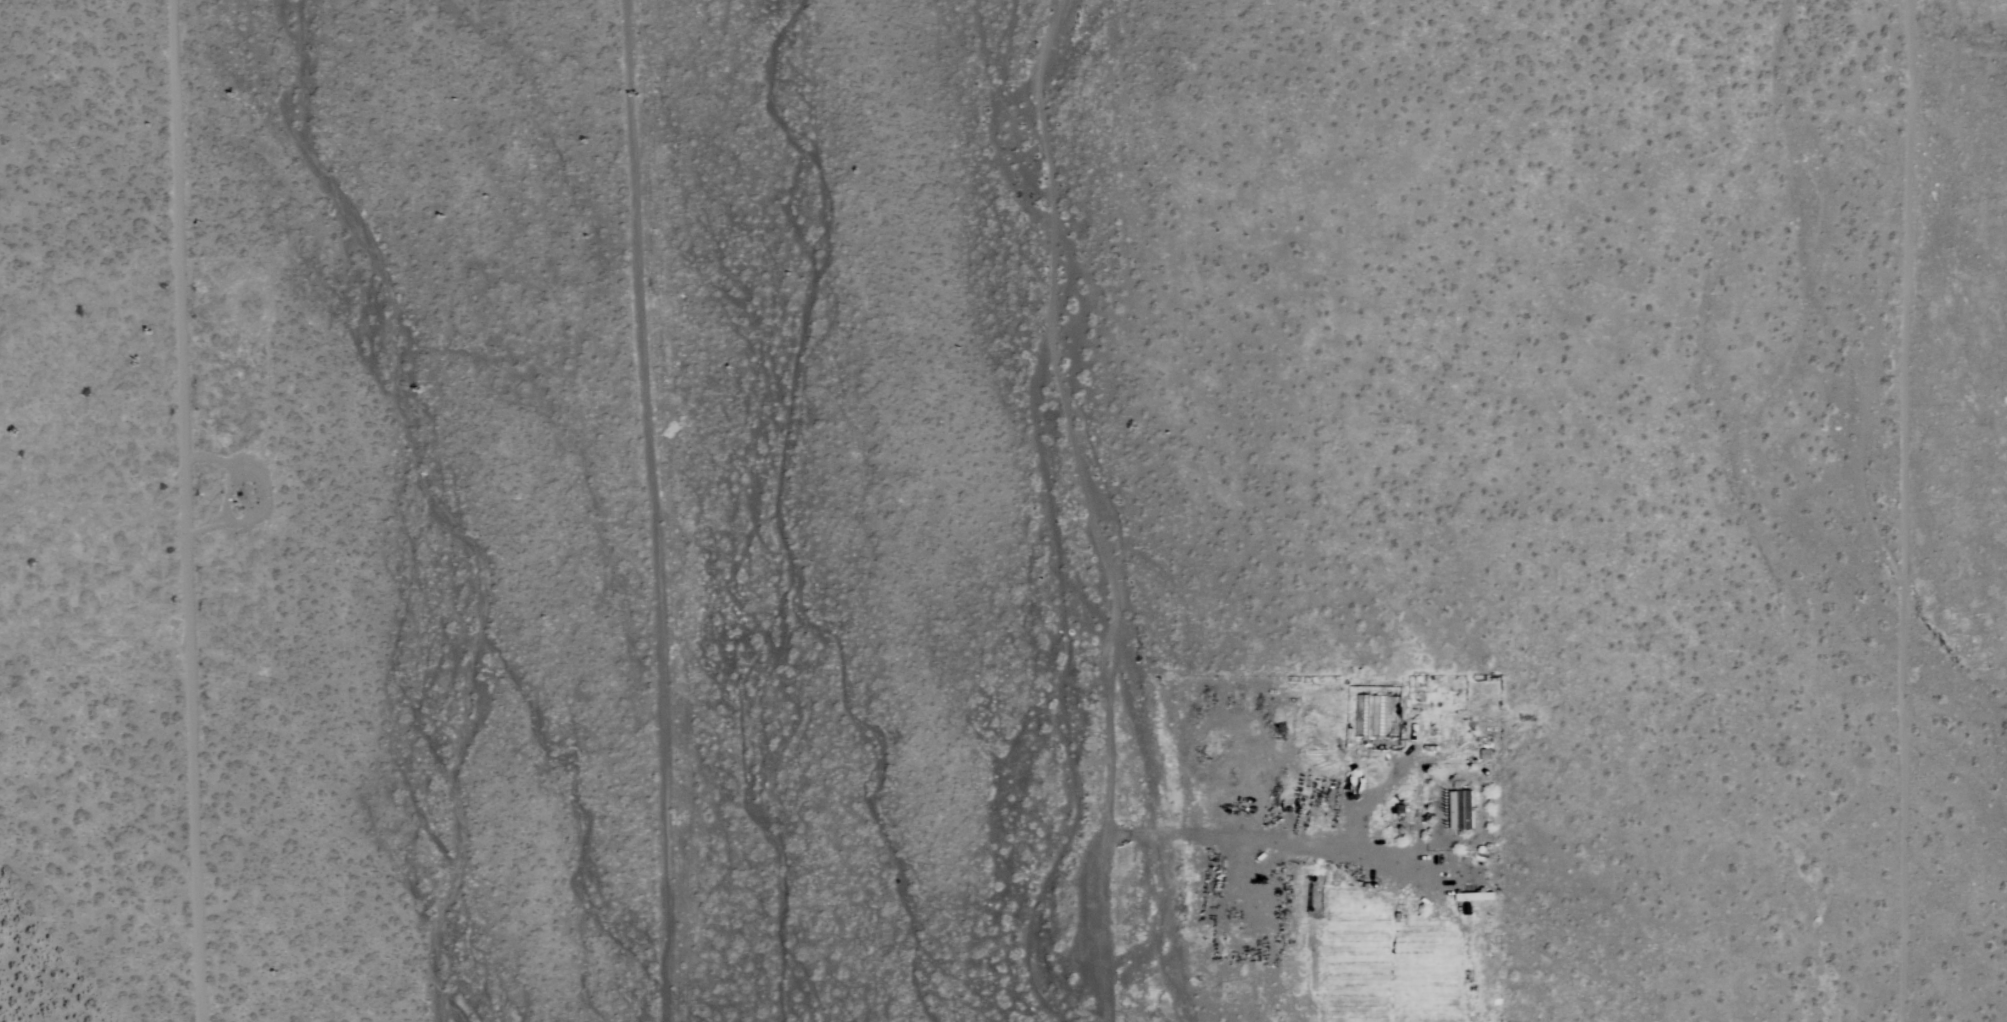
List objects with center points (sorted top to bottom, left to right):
road: (1090, 507)
road: (650, 510)
road: (179, 511)
building: (1459, 809)
road: (1262, 840)

